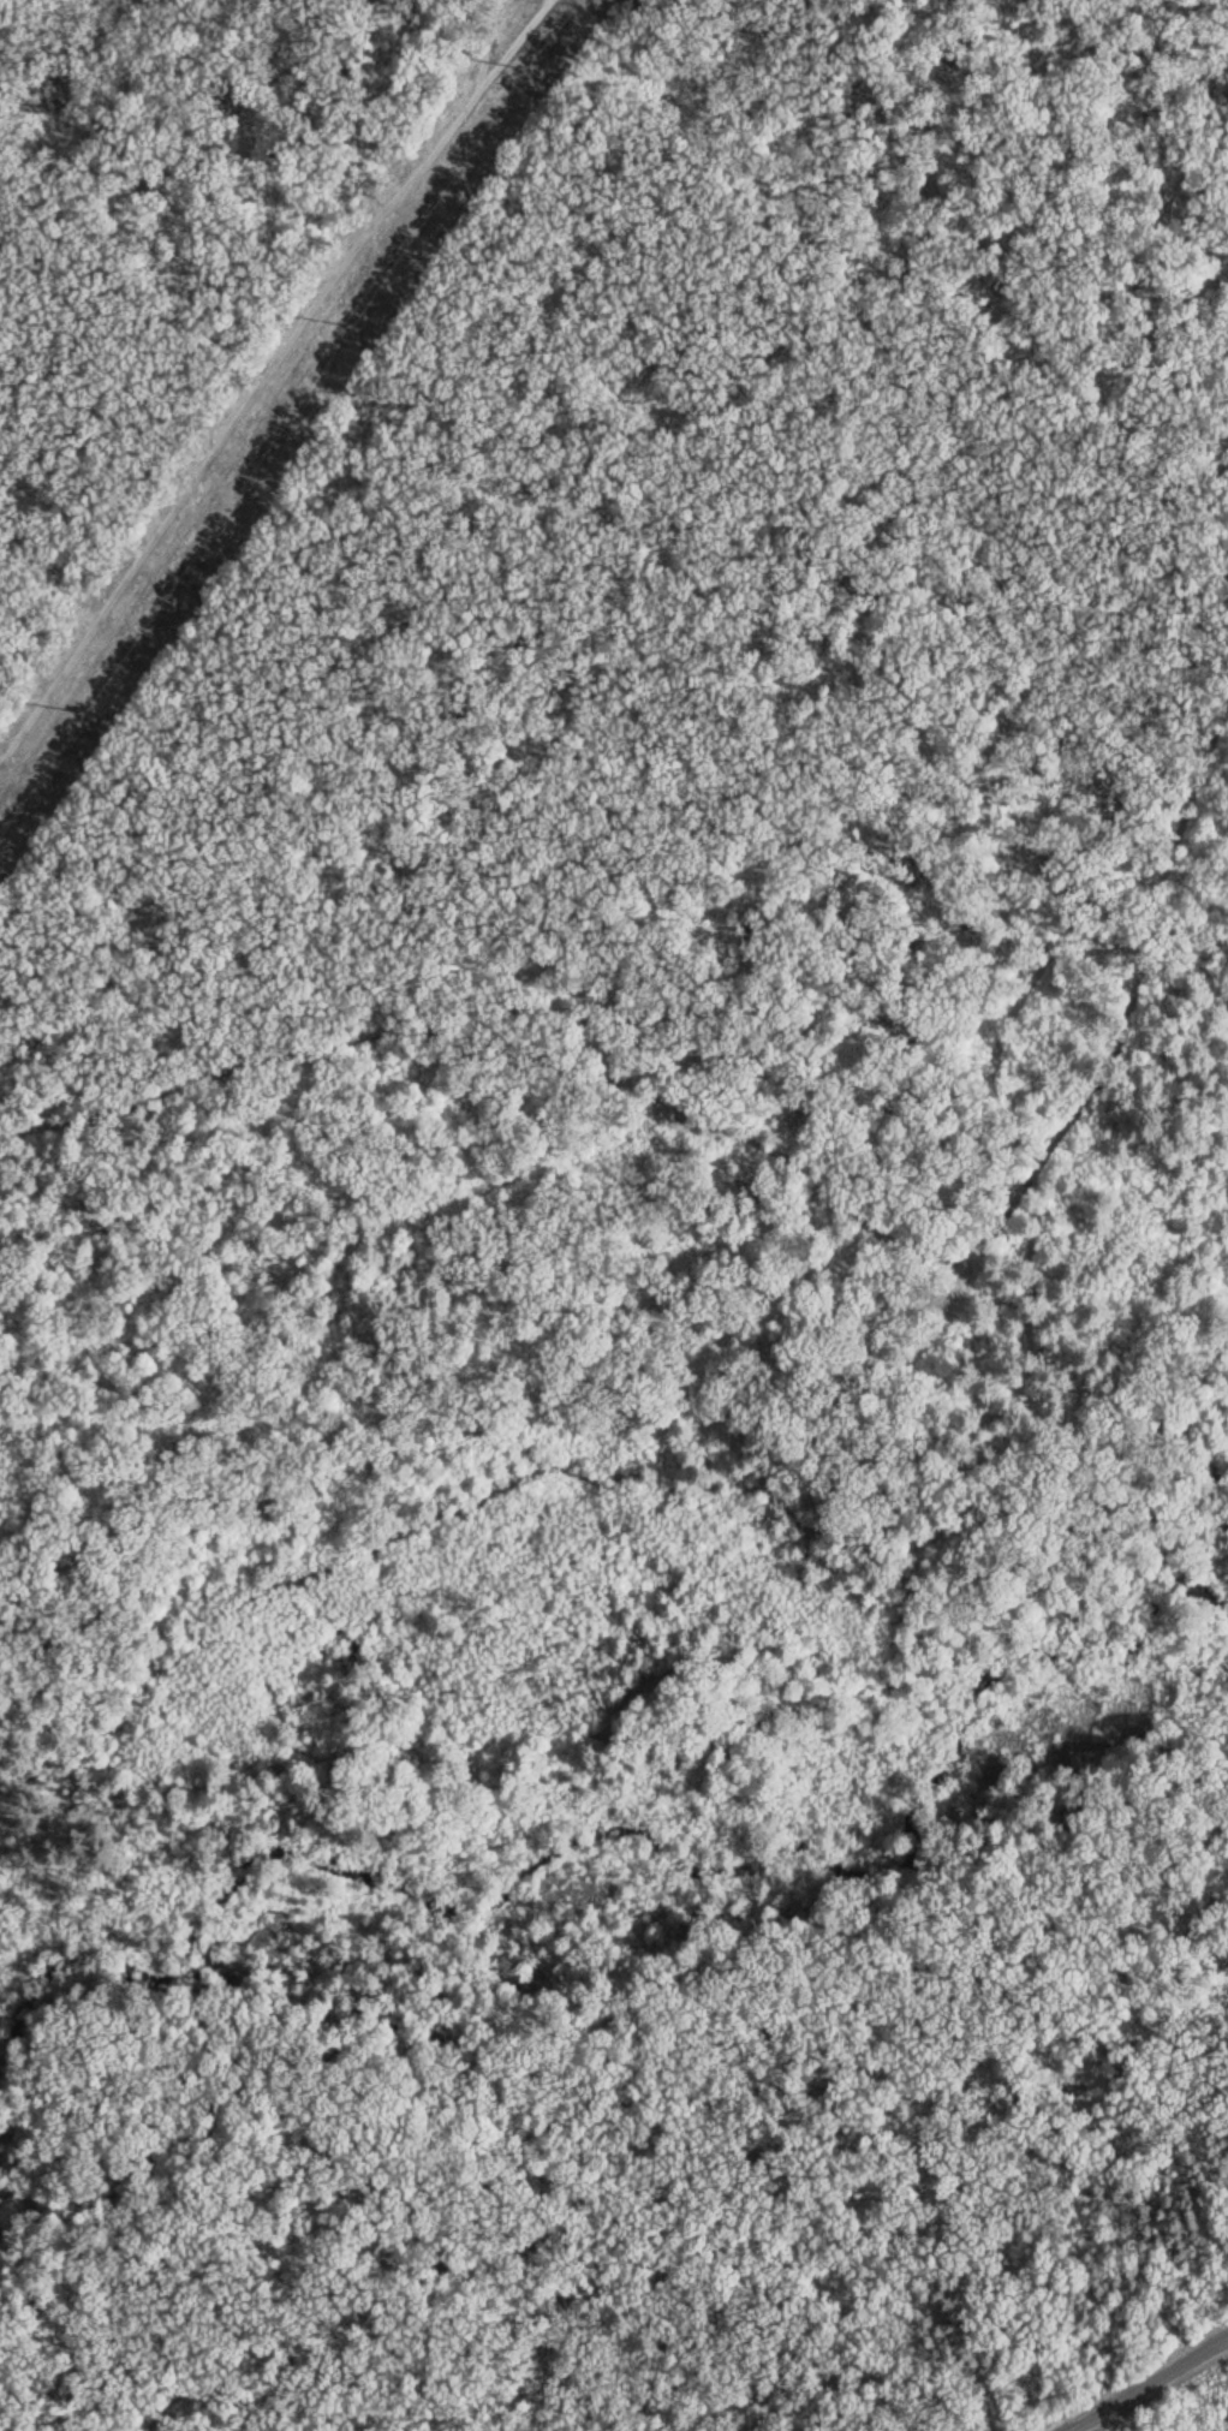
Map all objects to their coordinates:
road: (40, 37)
road: (210, 119)
road: (942, 186)
road: (1053, 954)
road: (648, 1473)
road: (467, 2102)
road: (680, 2216)
road: (1139, 2379)
wastewater plant: (1180, 2403)

